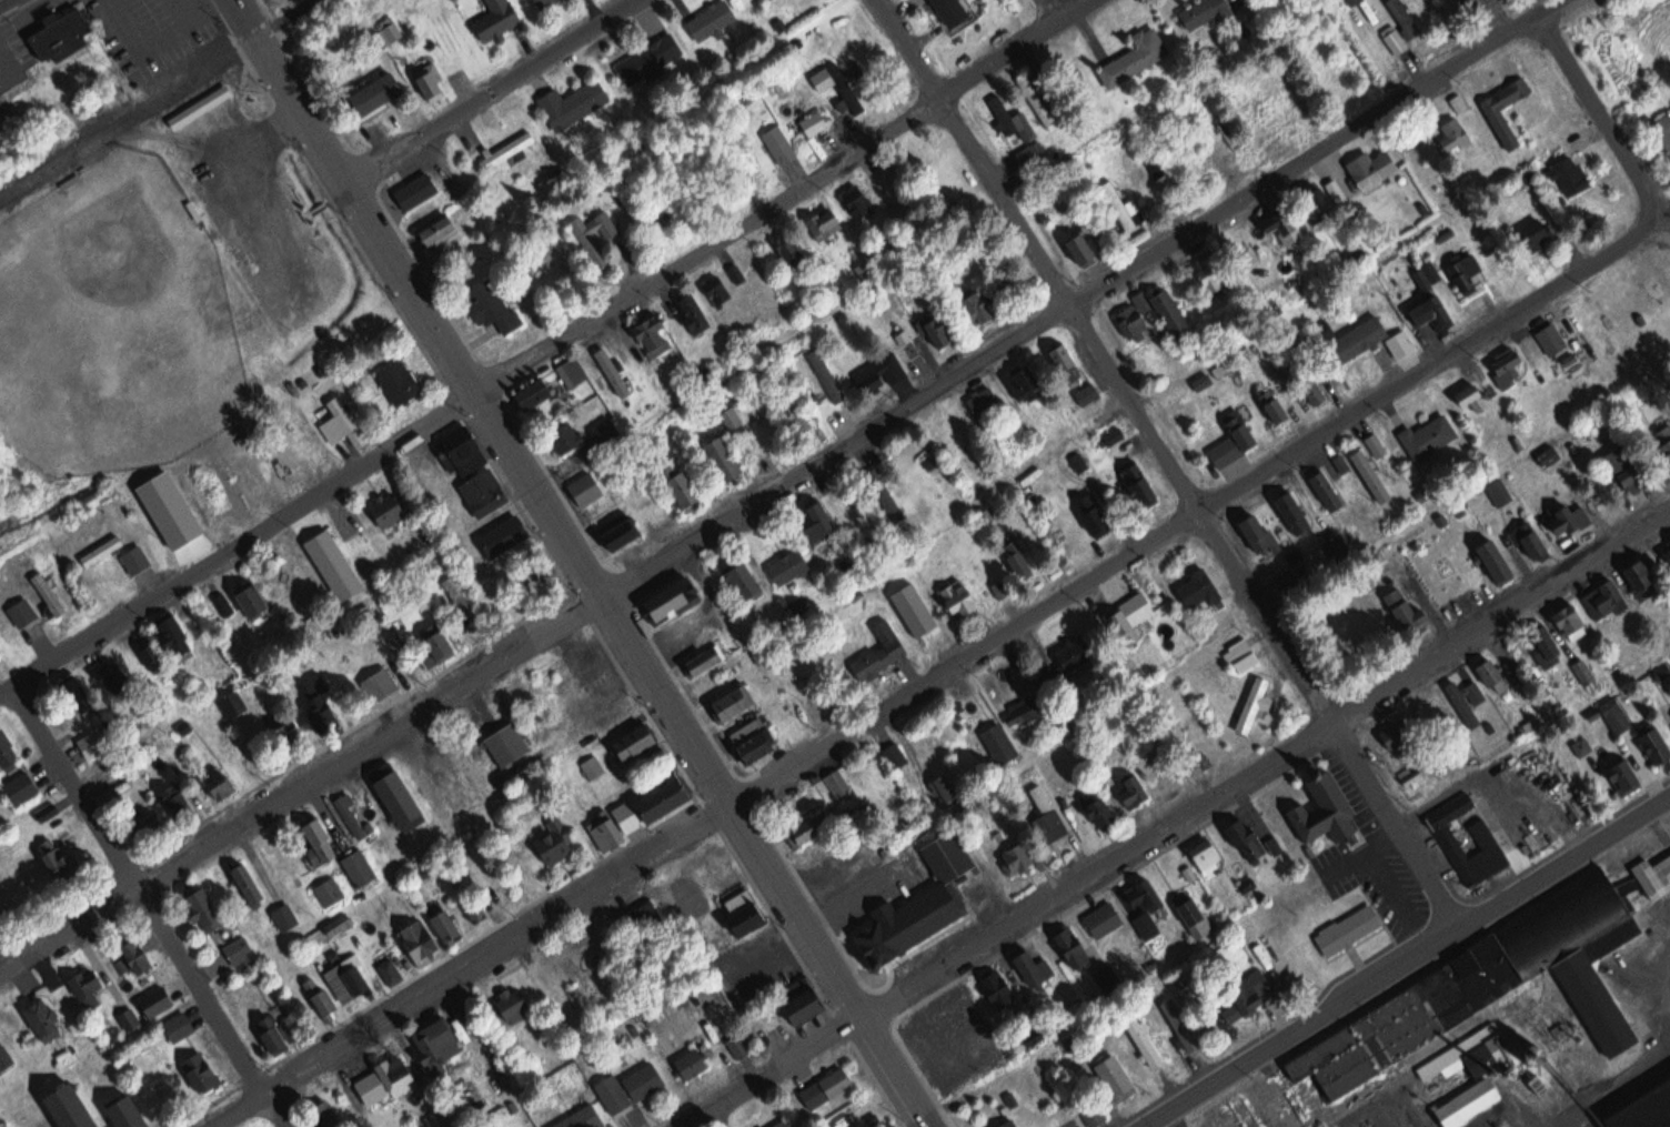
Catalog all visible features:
building: (1351, 0)
building: (1459, 0)
building: (1490, 2)
building: (551, 3)
building: (950, 10)
building: (1200, 10)
building: (1402, 14)
building: (504, 18)
building: (716, 19)
building: (61, 32)
building: (1392, 34)
building: (1134, 54)
building: (657, 56)
building: (432, 79)
building: (847, 84)
road: (492, 89)
building: (379, 93)
building: (1034, 95)
building: (576, 102)
building: (1463, 103)
building: (203, 105)
road: (1607, 112)
building: (1010, 118)
building: (1289, 121)
building: (825, 123)
building: (1505, 125)
building: (1664, 129)
building: (1455, 137)
building: (1239, 141)
building: (788, 144)
building: (514, 149)
building: (1030, 150)
building: (1370, 167)
building: (1571, 174)
building: (752, 181)
building: (421, 190)
building: (867, 201)
building: (1319, 204)
building: (1124, 205)
building: (673, 214)
building: (833, 221)
building: (1284, 222)
building: (443, 231)
building: (1538, 234)
building: (1088, 248)
building: (600, 249)
road: (1623, 249)
building: (802, 254)
building: (876, 270)
building: (1470, 272)
building: (1216, 280)
building: (727, 289)
building: (1148, 301)
building: (491, 302)
building: (1281, 304)
building: (1431, 309)
building: (982, 310)
building: (700, 311)
building: (1175, 313)
building: (1141, 321)
building: (776, 324)
park: (117, 325)
building: (655, 330)
building: (946, 331)
building: (1362, 339)
building: (1556, 339)
building: (1405, 343)
road: (550, 349)
building: (1073, 364)
building: (1508, 364)
building: (893, 370)
building: (581, 372)
building: (620, 372)
building: (839, 375)
building: (1034, 379)
building: (402, 383)
building: (1319, 388)
building: (1471, 393)
building: (539, 394)
building: (1096, 394)
building: (992, 400)
building: (765, 407)
building: (805, 410)
building: (1280, 410)
building: (741, 420)
building: (345, 422)
building: (1123, 435)
building: (1431, 435)
building: (572, 437)
building: (1238, 441)
building: (1380, 443)
building: (466, 450)
building: (730, 456)
building: (1089, 462)
road: (1167, 464)
building: (1348, 464)
building: (1638, 469)
building: (1375, 475)
building: (1145, 484)
building: (685, 485)
road: (783, 485)
building: (588, 489)
building: (1328, 490)
building: (487, 491)
building: (1501, 491)
building: (895, 494)
building: (392, 509)
building: (1296, 511)
building: (1100, 515)
building: (1568, 517)
building: (825, 523)
building: (509, 527)
building: (624, 533)
building: (1259, 533)
building: (1532, 541)
building: (105, 551)
building: (1666, 551)
building: (1025, 559)
building: (1491, 559)
building: (138, 560)
road: (592, 562)
building: (333, 564)
building: (801, 566)
building: (748, 578)
building: (1637, 578)
building: (1203, 587)
building: (1013, 588)
building: (49, 593)
building: (461, 595)
building: (965, 597)
building: (676, 598)
building: (249, 600)
building: (1602, 601)
building: (224, 604)
building: (913, 610)
building: (24, 612)
building: (1406, 613)
building: (1135, 618)
building: (1569, 623)
building: (172, 634)
building: (439, 637)
building: (1543, 641)
building: (148, 651)
building: (886, 651)
building: (1069, 653)
building: (1250, 654)
building: (711, 658)
building: (1085, 662)
building: (110, 672)
building: (1587, 674)
building: (1492, 675)
building: (381, 682)
building: (72, 687)
building: (315, 697)
building: (1466, 701)
building: (736, 702)
road: (897, 702)
building: (234, 704)
building: (1252, 705)
building: (1020, 712)
building: (1616, 716)
building: (188, 728)
building: (998, 742)
building: (93, 743)
building: (635, 743)
building: (1651, 743)
building: (507, 745)
building: (761, 745)
building: (4, 753)
building: (901, 754)
building: (597, 766)
building: (1621, 776)
building: (843, 782)
building: (219, 783)
building: (947, 787)
building: (17, 788)
building: (1134, 791)
building: (400, 801)
building: (175, 802)
building: (651, 802)
building: (1324, 809)
building: (1099, 811)
building: (50, 812)
building: (350, 814)
building: (1050, 815)
road: (1178, 822)
building: (148, 827)
building: (806, 829)
building: (607, 832)
building: (1245, 836)
building: (1485, 837)
building: (557, 838)
building: (320, 842)
building: (1208, 857)
building: (1018, 858)
building: (56, 864)
building: (359, 866)
building: (245, 884)
building: (330, 890)
road: (161, 902)
building: (1143, 905)
building: (202, 907)
building: (745, 914)
building: (915, 914)
building: (286, 916)
building: (650, 917)
building: (1195, 917)
building: (1104, 918)
building: (341, 924)
building: (445, 925)
building: (1351, 928)
building: (422, 940)
building: (1072, 946)
building: (237, 949)
building: (132, 955)
road: (1406, 962)
building: (390, 967)
building: (1033, 967)
building: (1499, 976)
building: (349, 978)
building: (996, 987)
building: (89, 989)
building: (1249, 994)
building: (322, 996)
building: (153, 1000)
building: (513, 1003)
building: (803, 1005)
building: (41, 1016)
building: (131, 1019)
building: (179, 1024)
building: (1183, 1024)
building: (273, 1030)
building: (437, 1038)
building: (1144, 1039)
building: (741, 1046)
building: (6, 1056)
building: (692, 1064)
building: (1443, 1065)
building: (197, 1074)
building: (1115, 1077)
road: (1610, 1077)
building: (386, 1080)
building: (644, 1081)
building: (824, 1087)
building: (615, 1095)
building: (1469, 1101)
building: (70, 1108)
building: (1643, 1109)
building: (127, 1113)
building: (326, 1114)
building: (582, 1117)
building: (779, 1123)
building: (1010, 1124)

